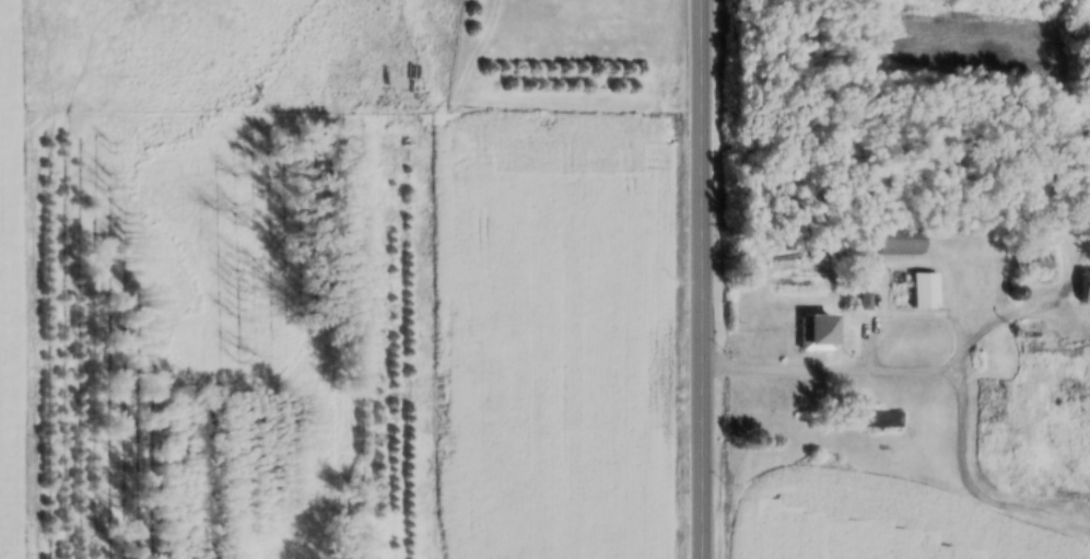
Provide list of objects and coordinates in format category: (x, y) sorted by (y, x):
building: (904, 241)
building: (1035, 263)
road: (706, 279)
building: (1087, 288)
building: (915, 301)
building: (822, 333)
road: (911, 373)
building: (996, 406)
building: (884, 420)

